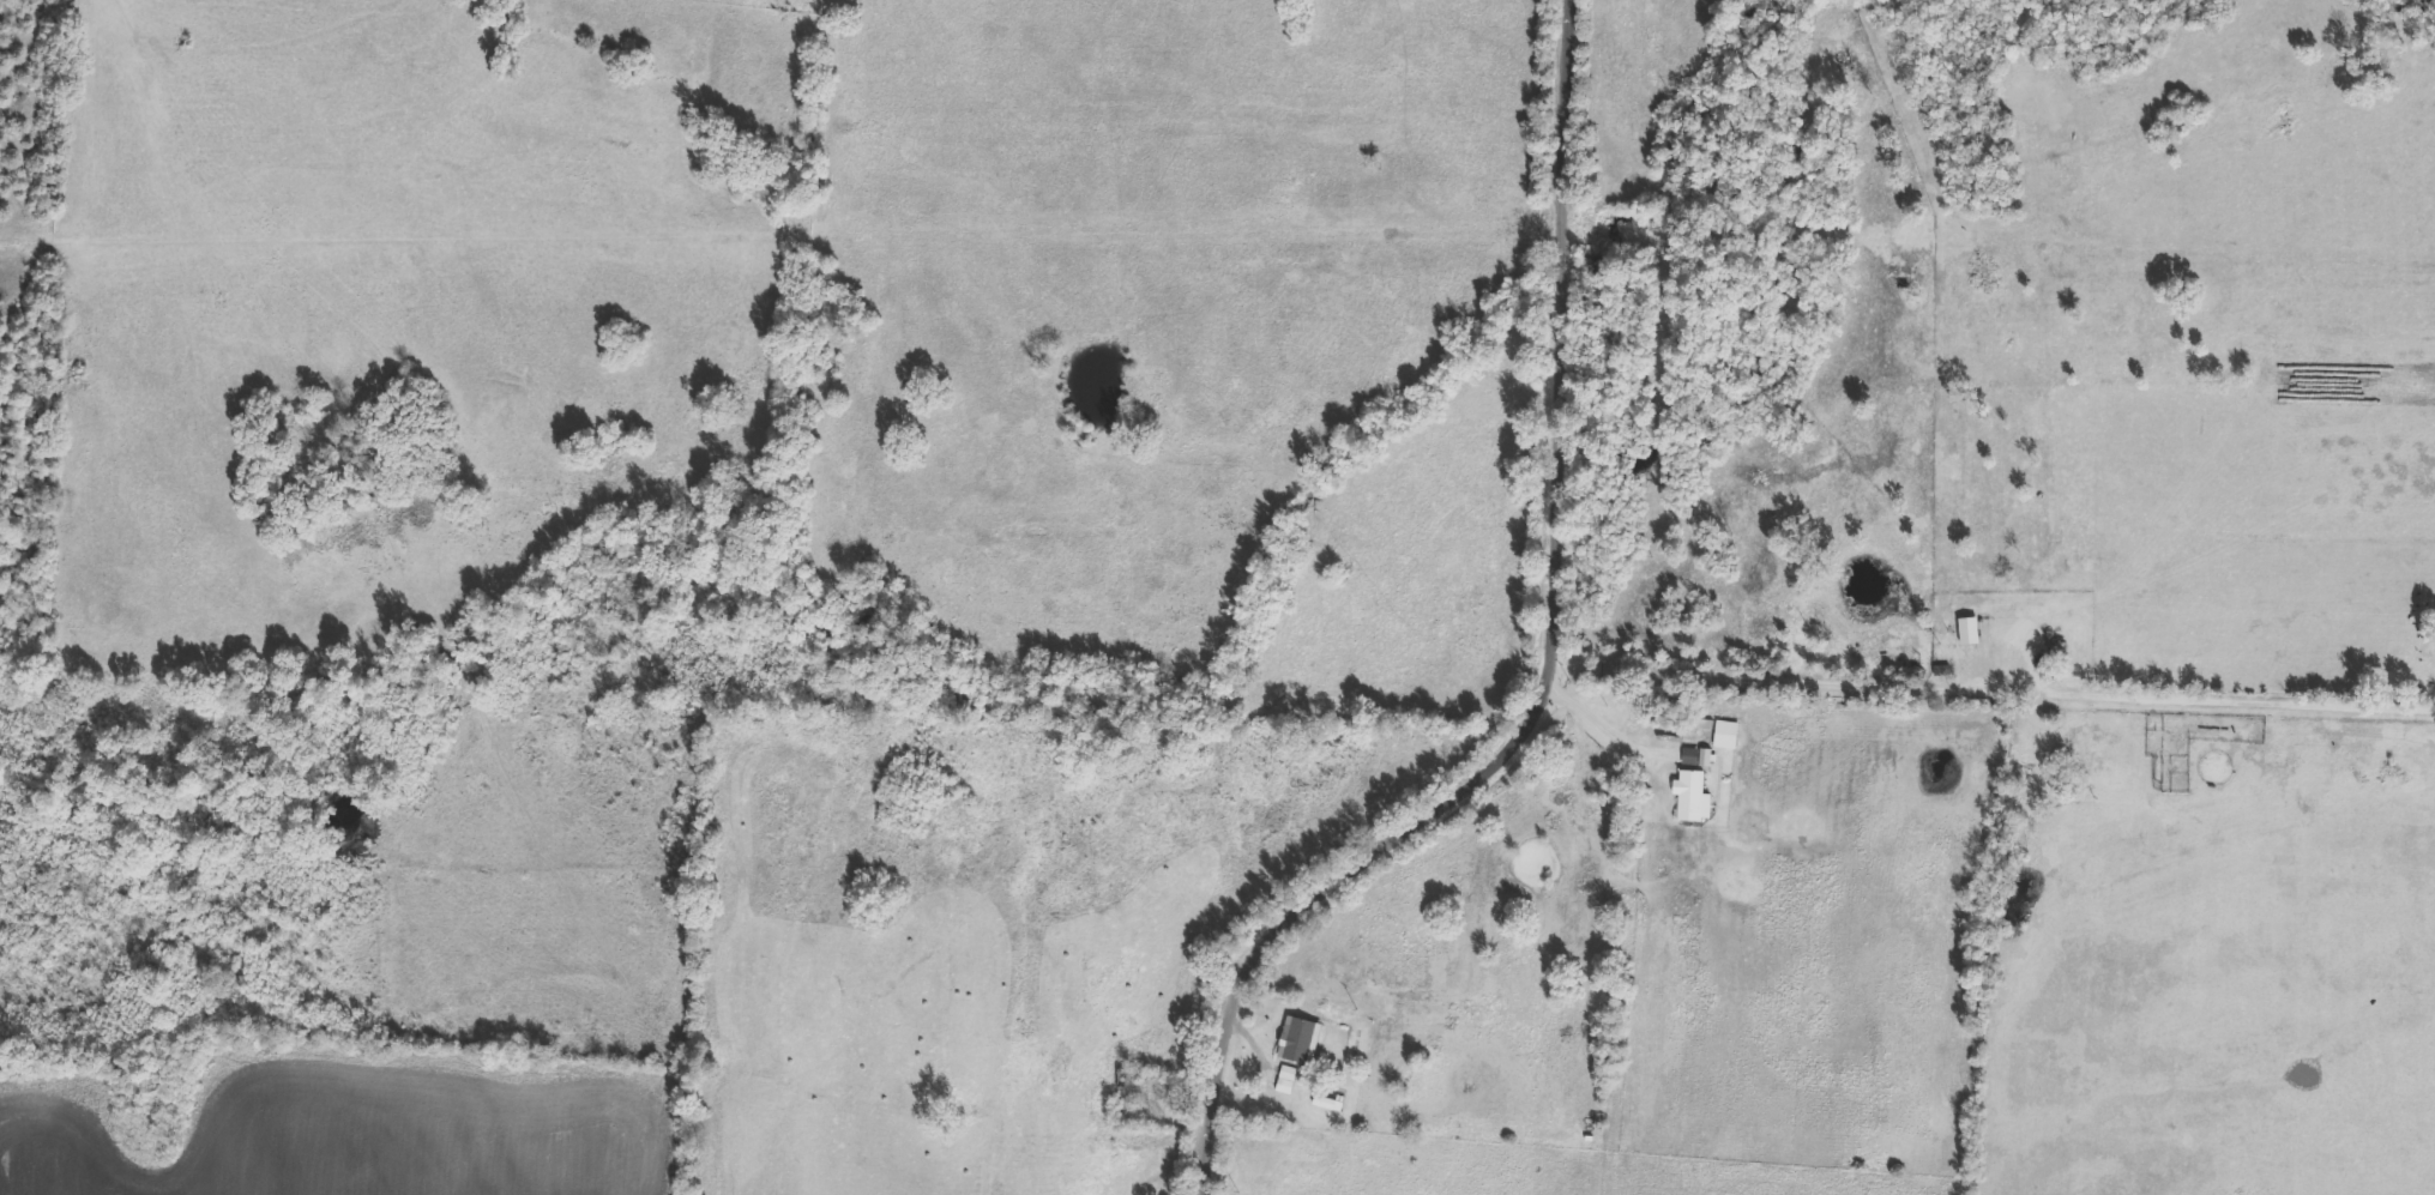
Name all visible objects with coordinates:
building: (1972, 634)
building: (2017, 651)
road: (1547, 668)
road: (1802, 680)
building: (1730, 737)
building: (2053, 737)
building: (1700, 760)
building: (2355, 769)
building: (1693, 790)
building: (1295, 1044)
road: (1262, 1046)
building: (1345, 1082)
building: (1131, 1087)

